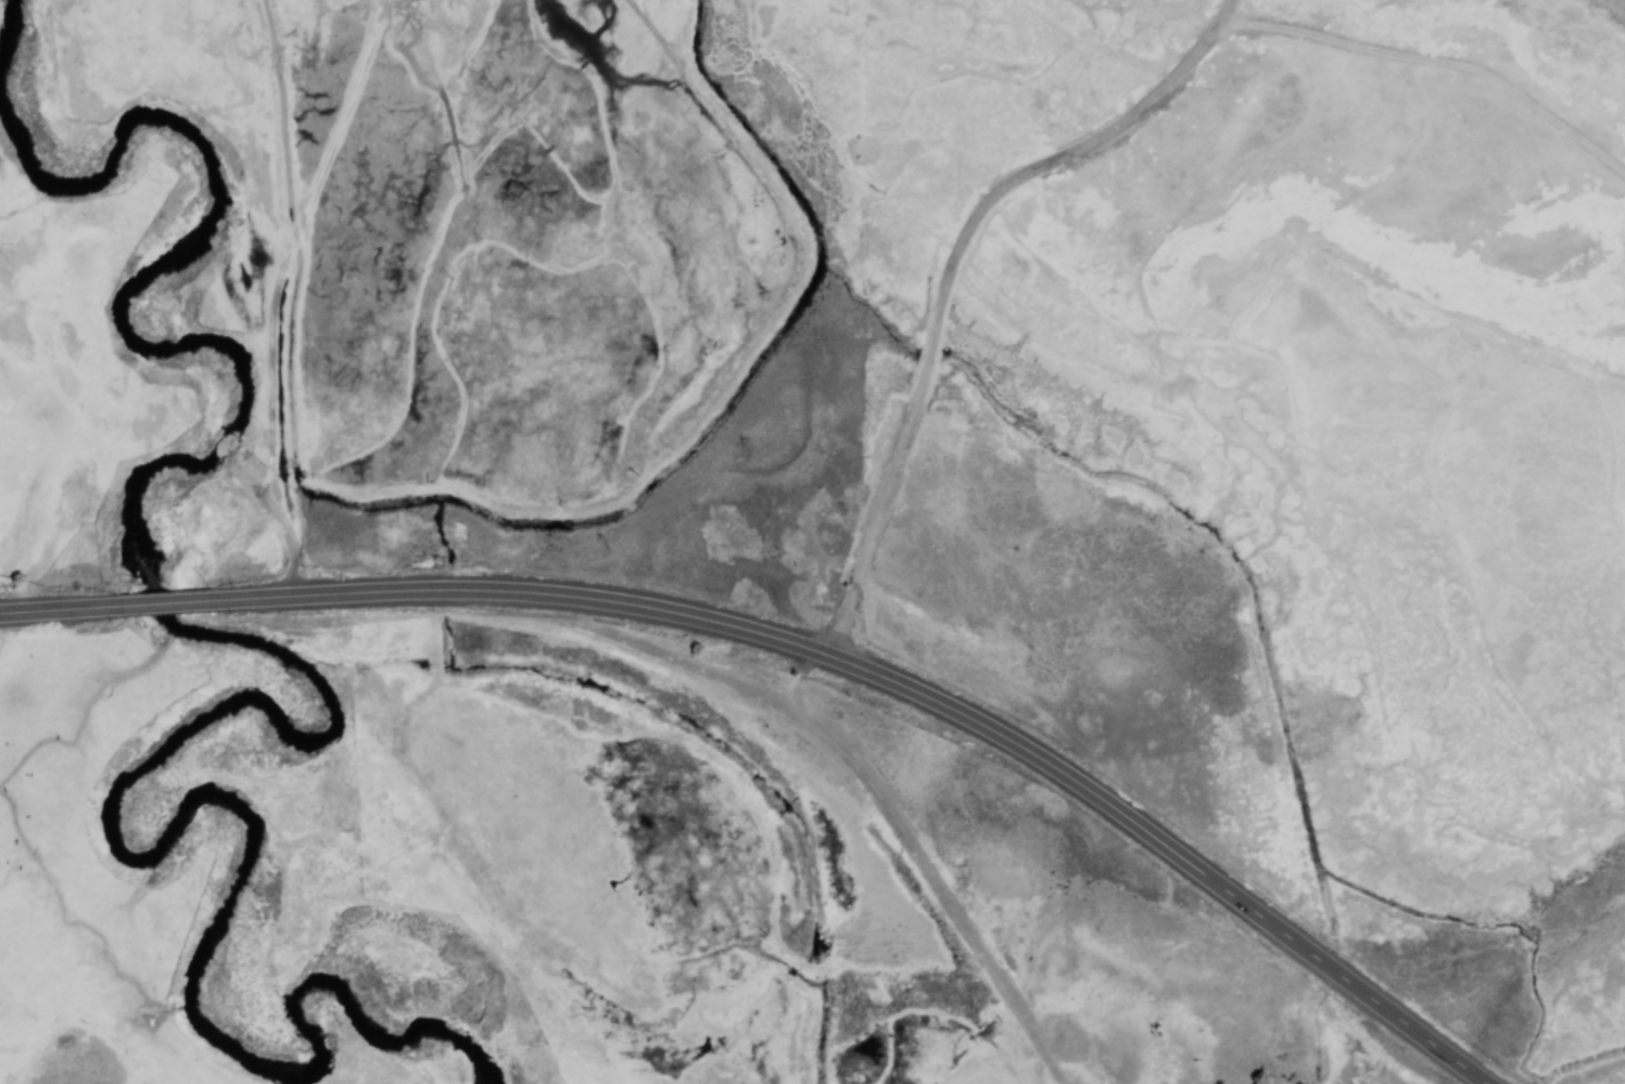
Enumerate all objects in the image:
river: (12, 35)
road: (268, 288)
river: (127, 295)
road: (931, 320)
river: (154, 603)
road: (804, 642)
river: (240, 819)
road: (918, 860)

